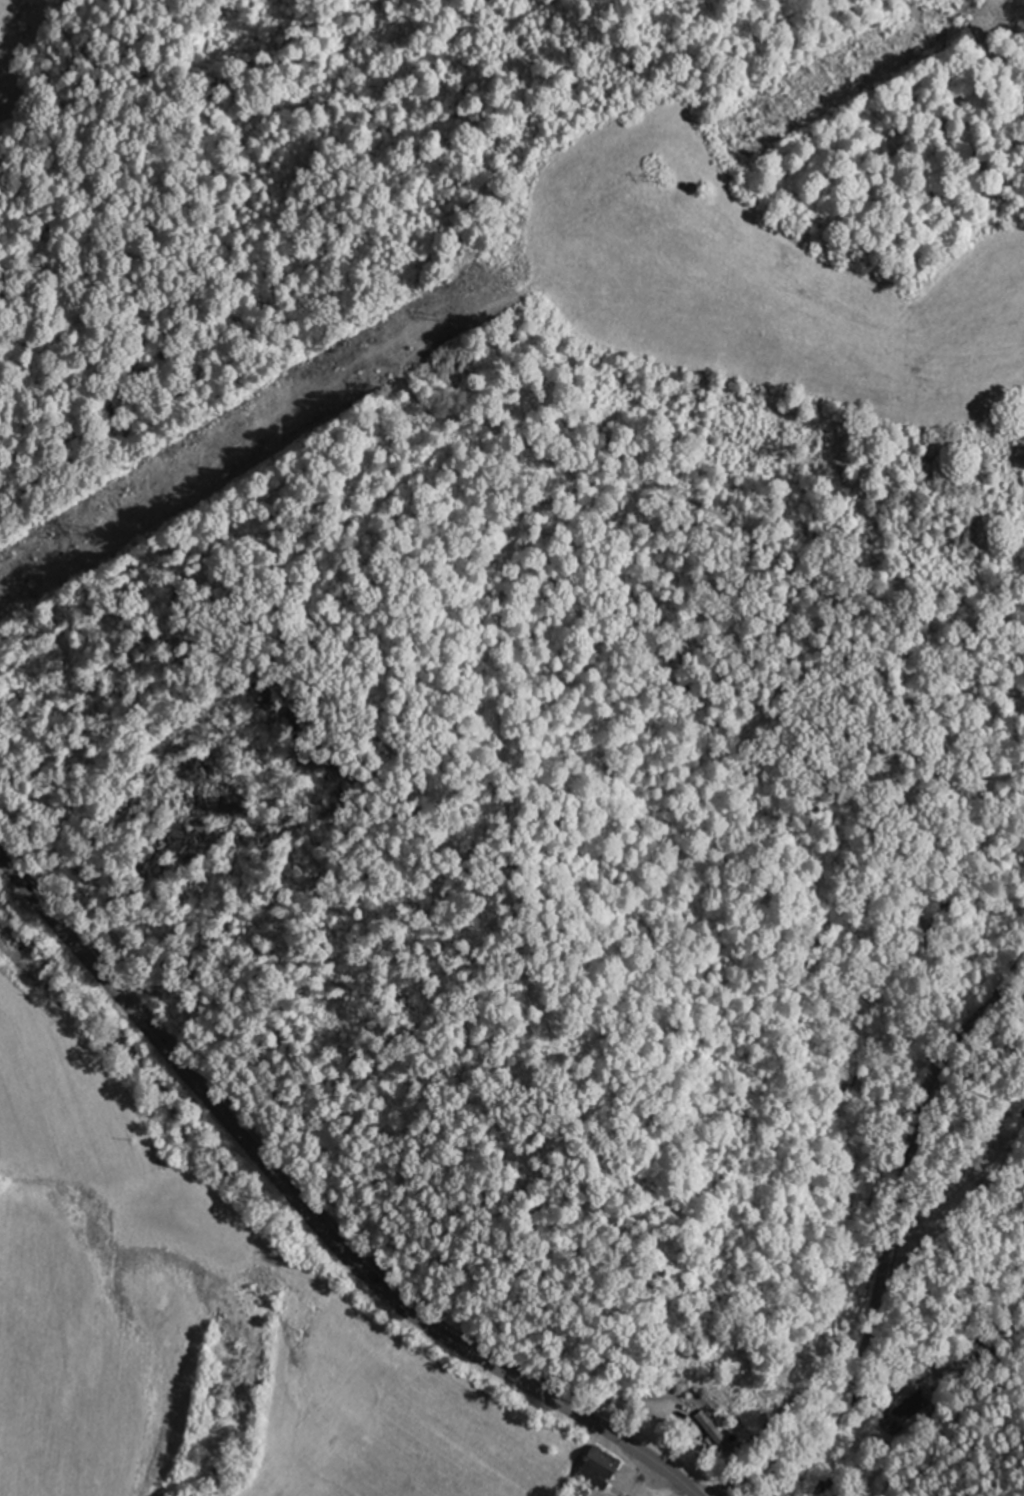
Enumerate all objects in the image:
road: (311, 1216)
road: (889, 1242)
building: (593, 1465)

